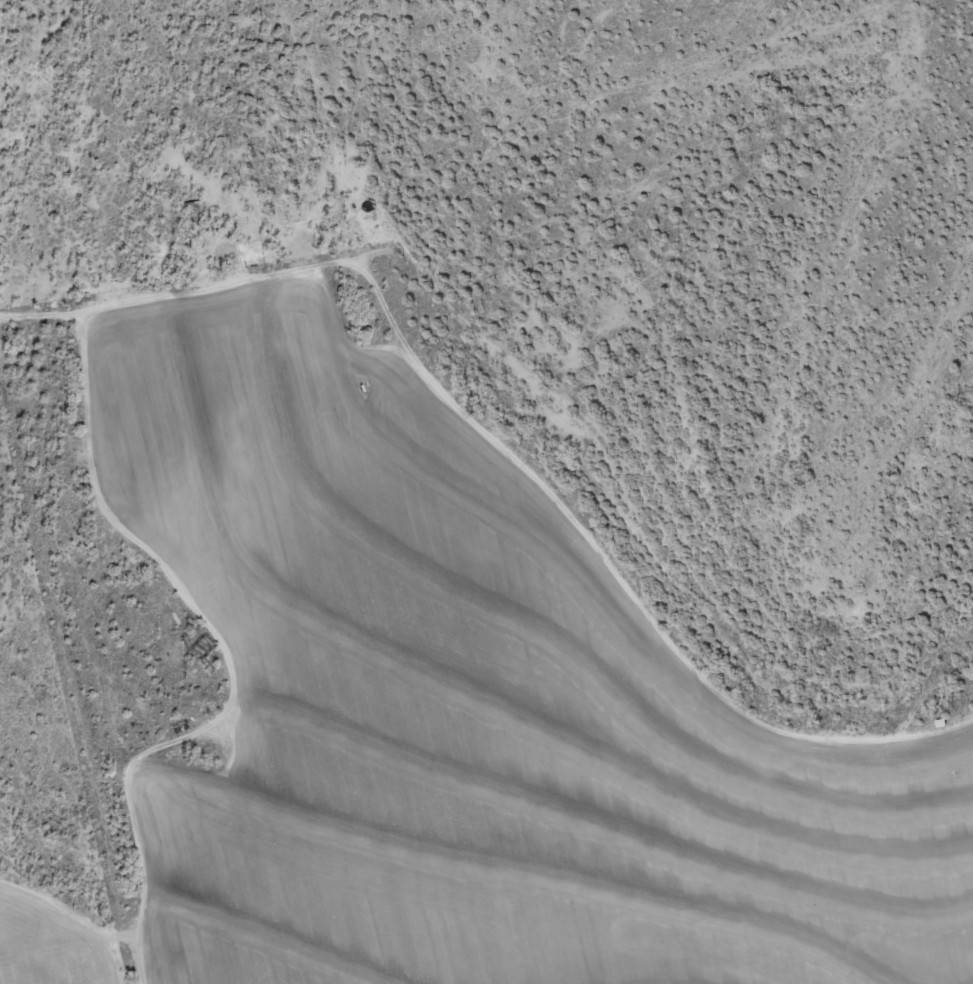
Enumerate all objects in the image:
road: (64, 681)

